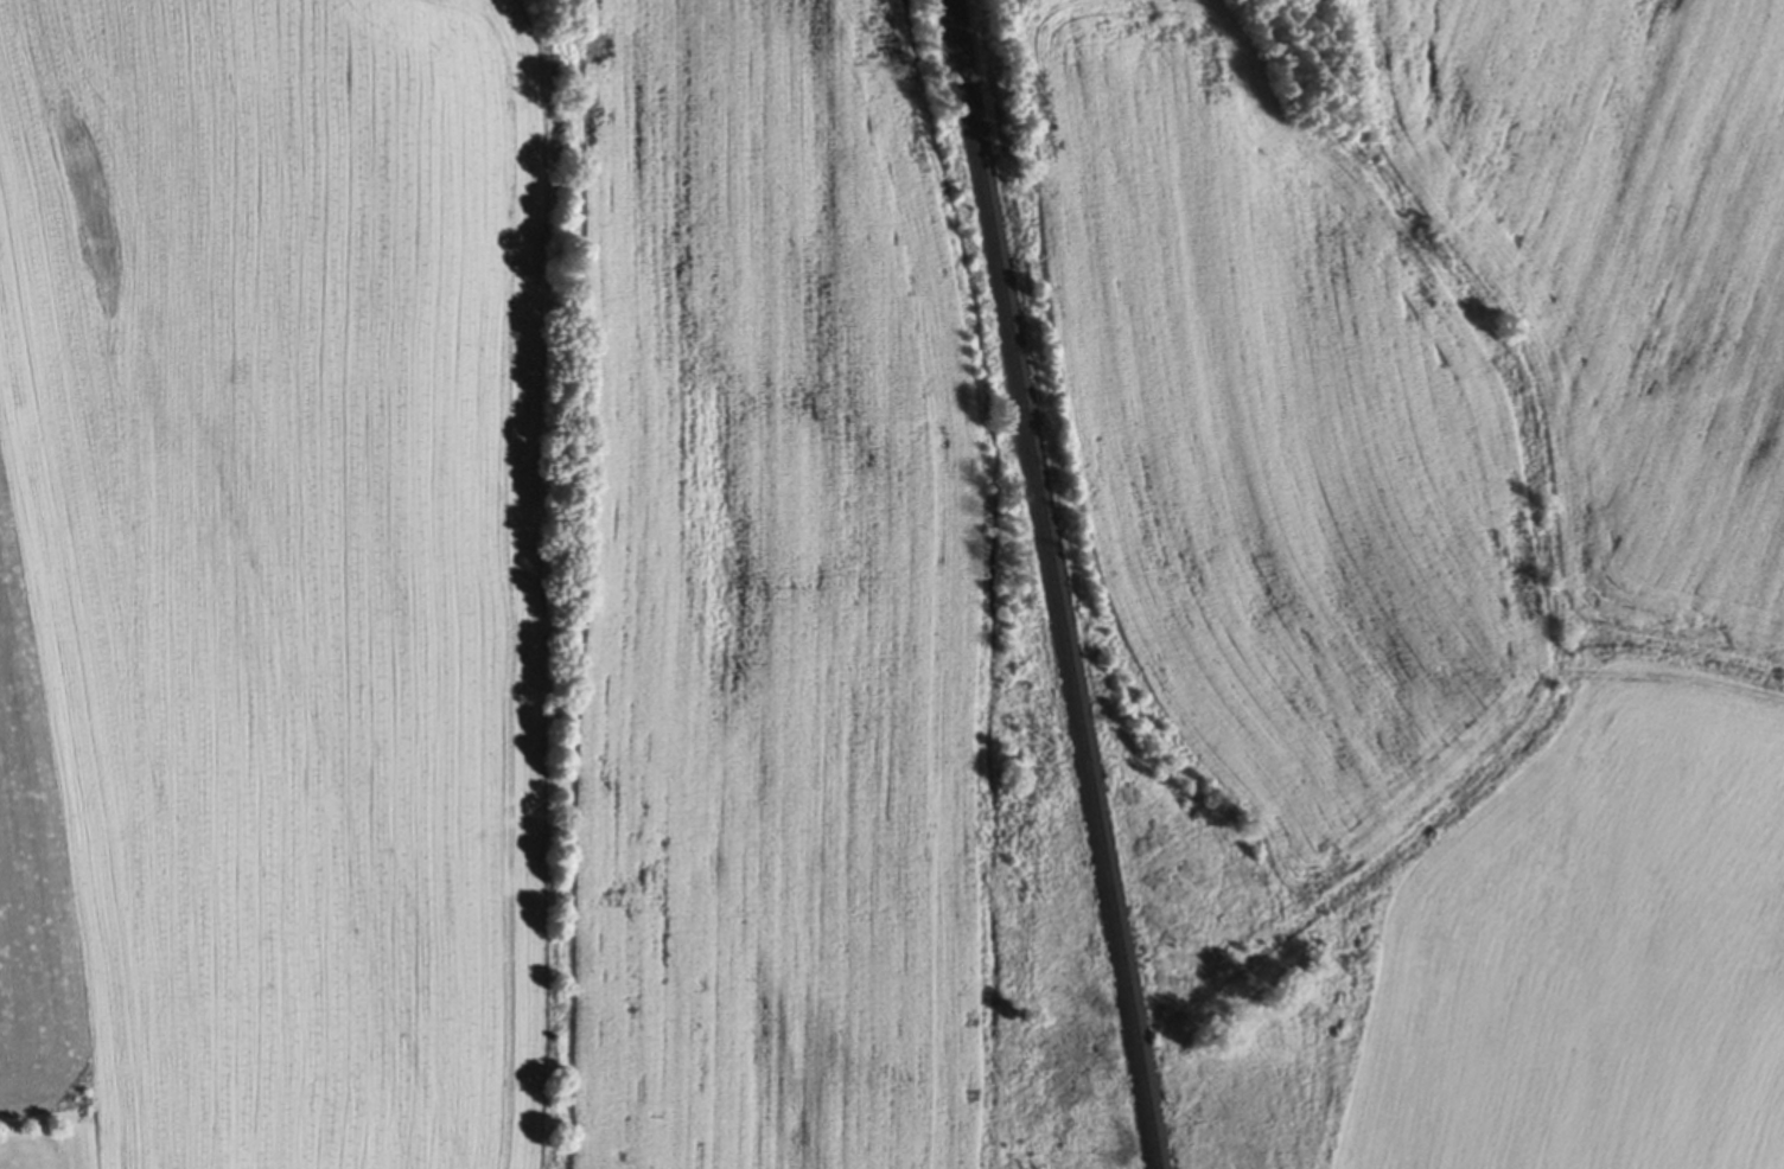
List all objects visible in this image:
railway: (1062, 584)

